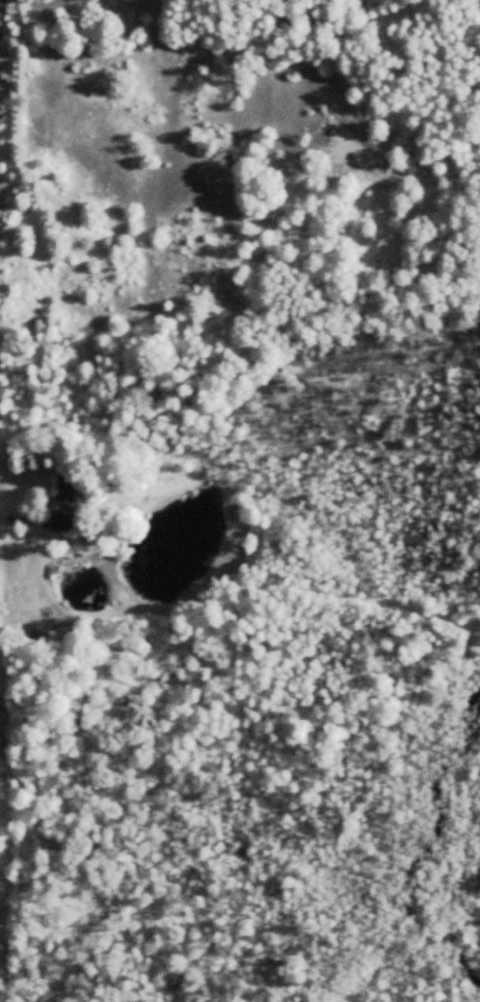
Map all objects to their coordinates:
building: (65, 491)
building: (59, 521)

